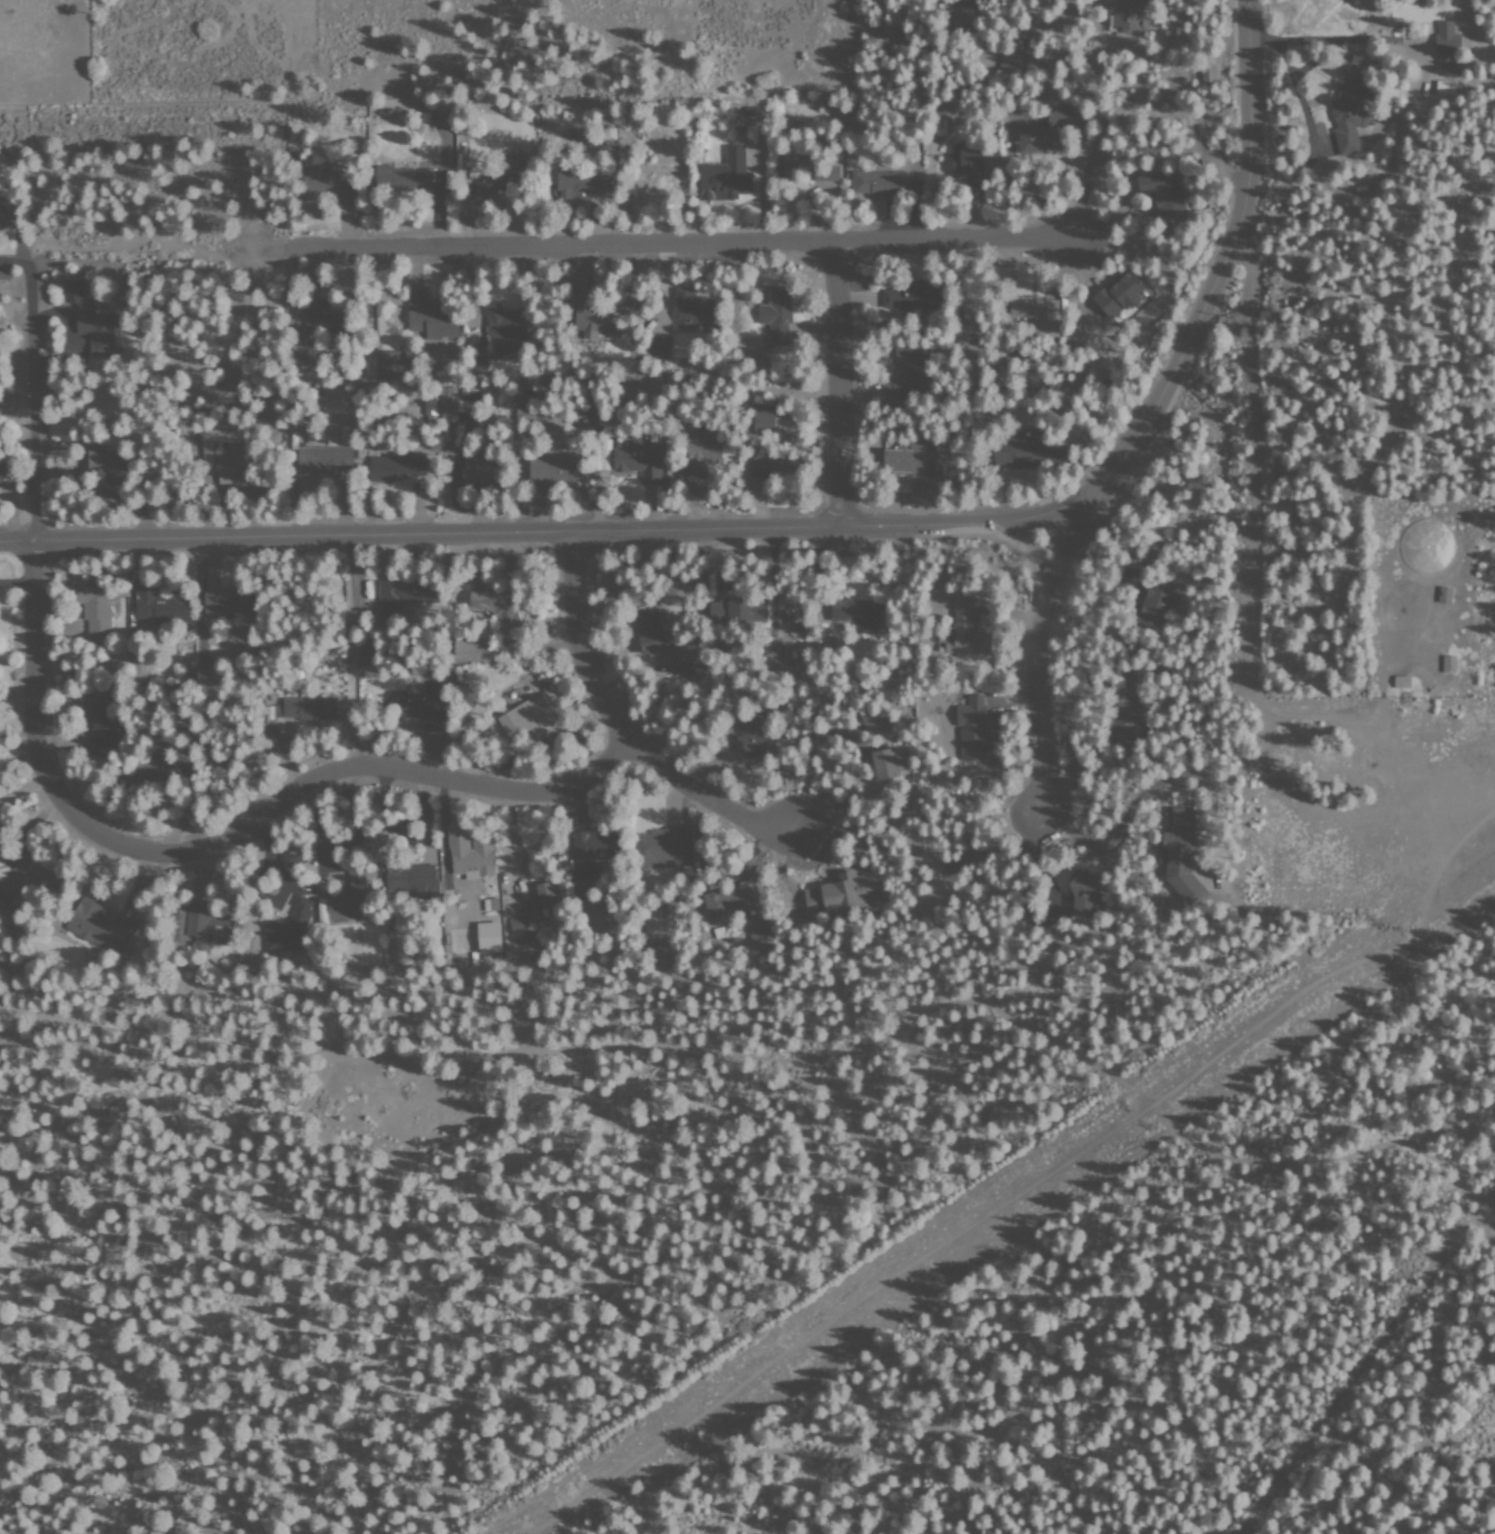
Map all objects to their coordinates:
building: (1125, 16)
building: (1446, 44)
building: (1208, 70)
building: (1445, 88)
building: (752, 112)
building: (1349, 115)
building: (1020, 121)
building: (1045, 131)
building: (965, 167)
building: (825, 172)
building: (726, 177)
building: (401, 178)
building: (319, 183)
building: (885, 183)
building: (581, 187)
building: (1162, 193)
road: (587, 240)
building: (1117, 295)
building: (898, 297)
road: (1206, 309)
building: (692, 312)
building: (776, 313)
building: (430, 316)
building: (589, 322)
building: (501, 324)
building: (96, 331)
building: (386, 361)
road: (835, 381)
building: (446, 403)
building: (765, 424)
road: (1251, 442)
building: (600, 457)
building: (321, 459)
building: (908, 461)
building: (644, 462)
building: (396, 469)
building: (555, 469)
building: (0, 474)
road: (503, 522)
road: (1058, 582)
building: (401, 598)
building: (493, 605)
building: (160, 606)
building: (730, 611)
building: (96, 619)
road: (1042, 665)
building: (1401, 682)
building: (308, 707)
building: (527, 715)
road: (616, 723)
building: (973, 728)
building: (749, 740)
building: (887, 763)
building: (1178, 829)
road: (223, 838)
building: (592, 848)
building: (657, 848)
building: (469, 854)
building: (411, 879)
building: (545, 895)
building: (837, 895)
building: (731, 901)
building: (490, 906)
building: (518, 931)
road: (786, 1059)
road: (1004, 1174)
road: (1470, 1194)
road: (1367, 1366)
road: (1424, 1417)

